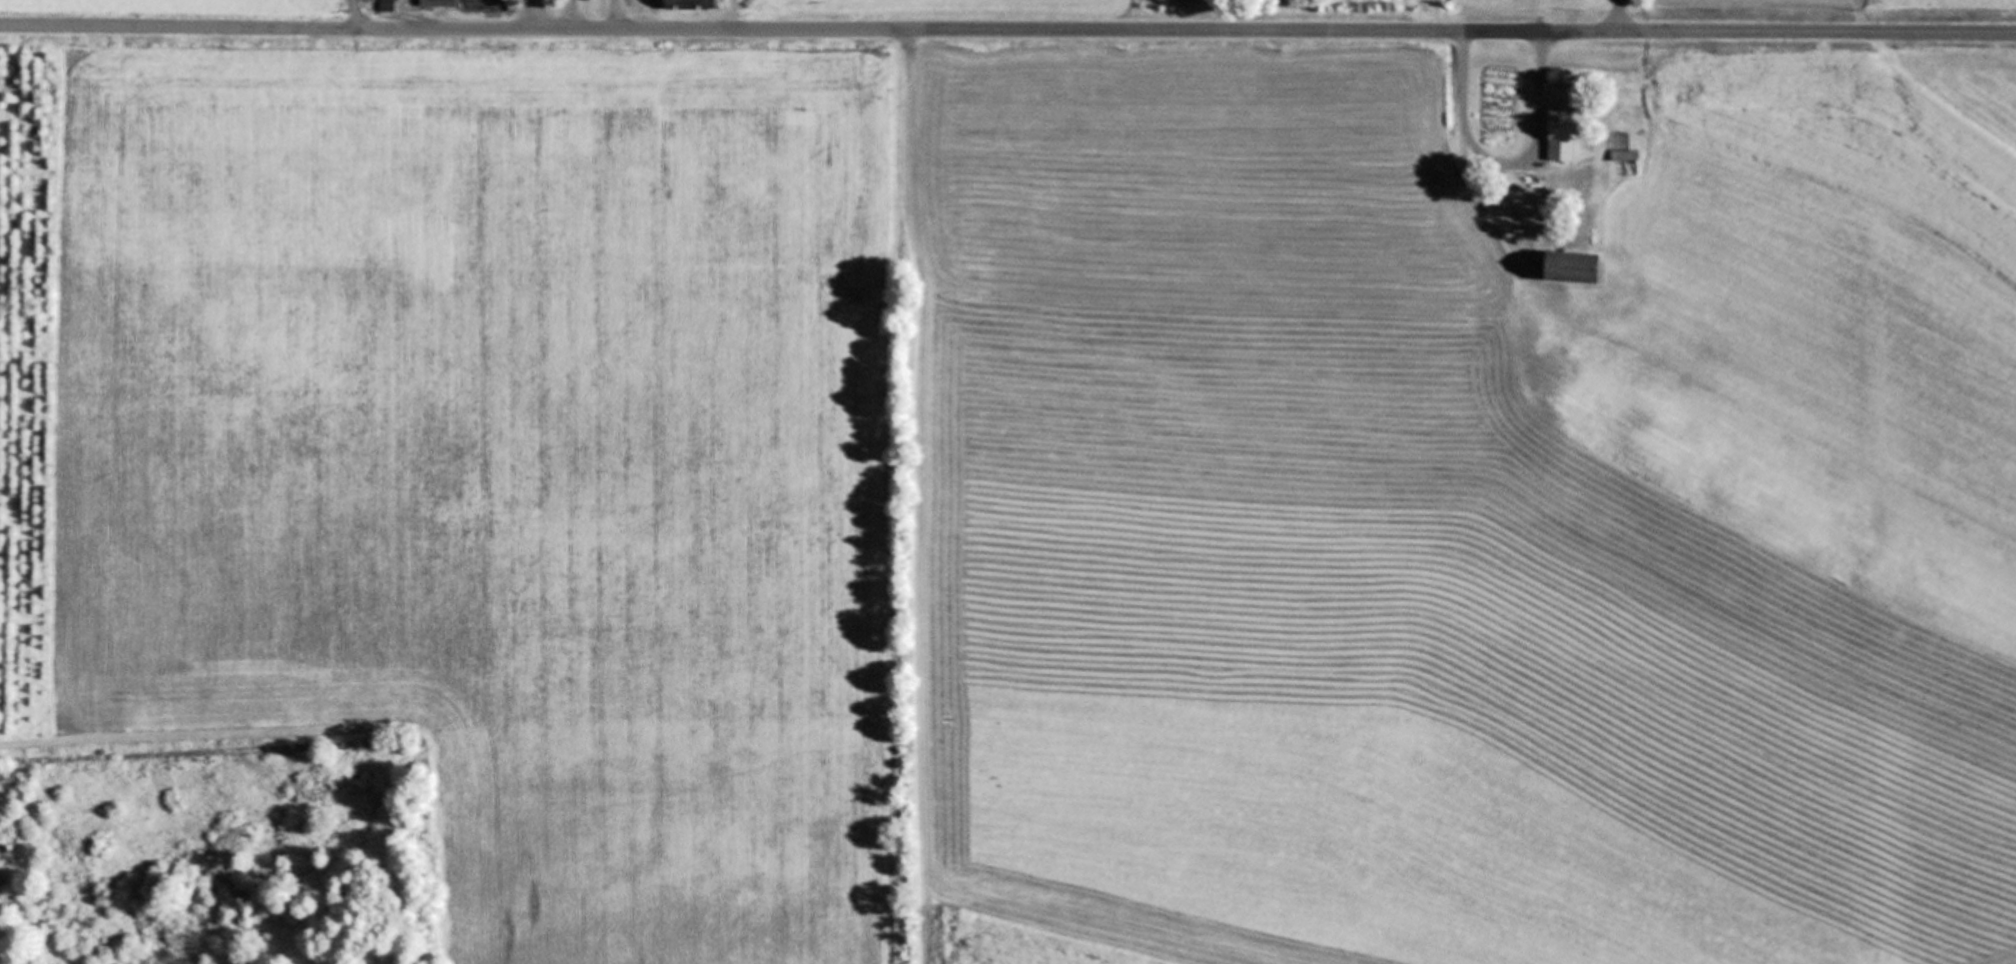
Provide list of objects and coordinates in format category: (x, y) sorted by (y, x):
building: (437, 3)
building: (386, 4)
building: (684, 4)
road: (355, 13)
road: (532, 14)
road: (570, 14)
road: (619, 14)
road: (1621, 15)
road: (1007, 29)
building: (1560, 134)
building: (1624, 155)
road: (1506, 164)
building: (1568, 265)

